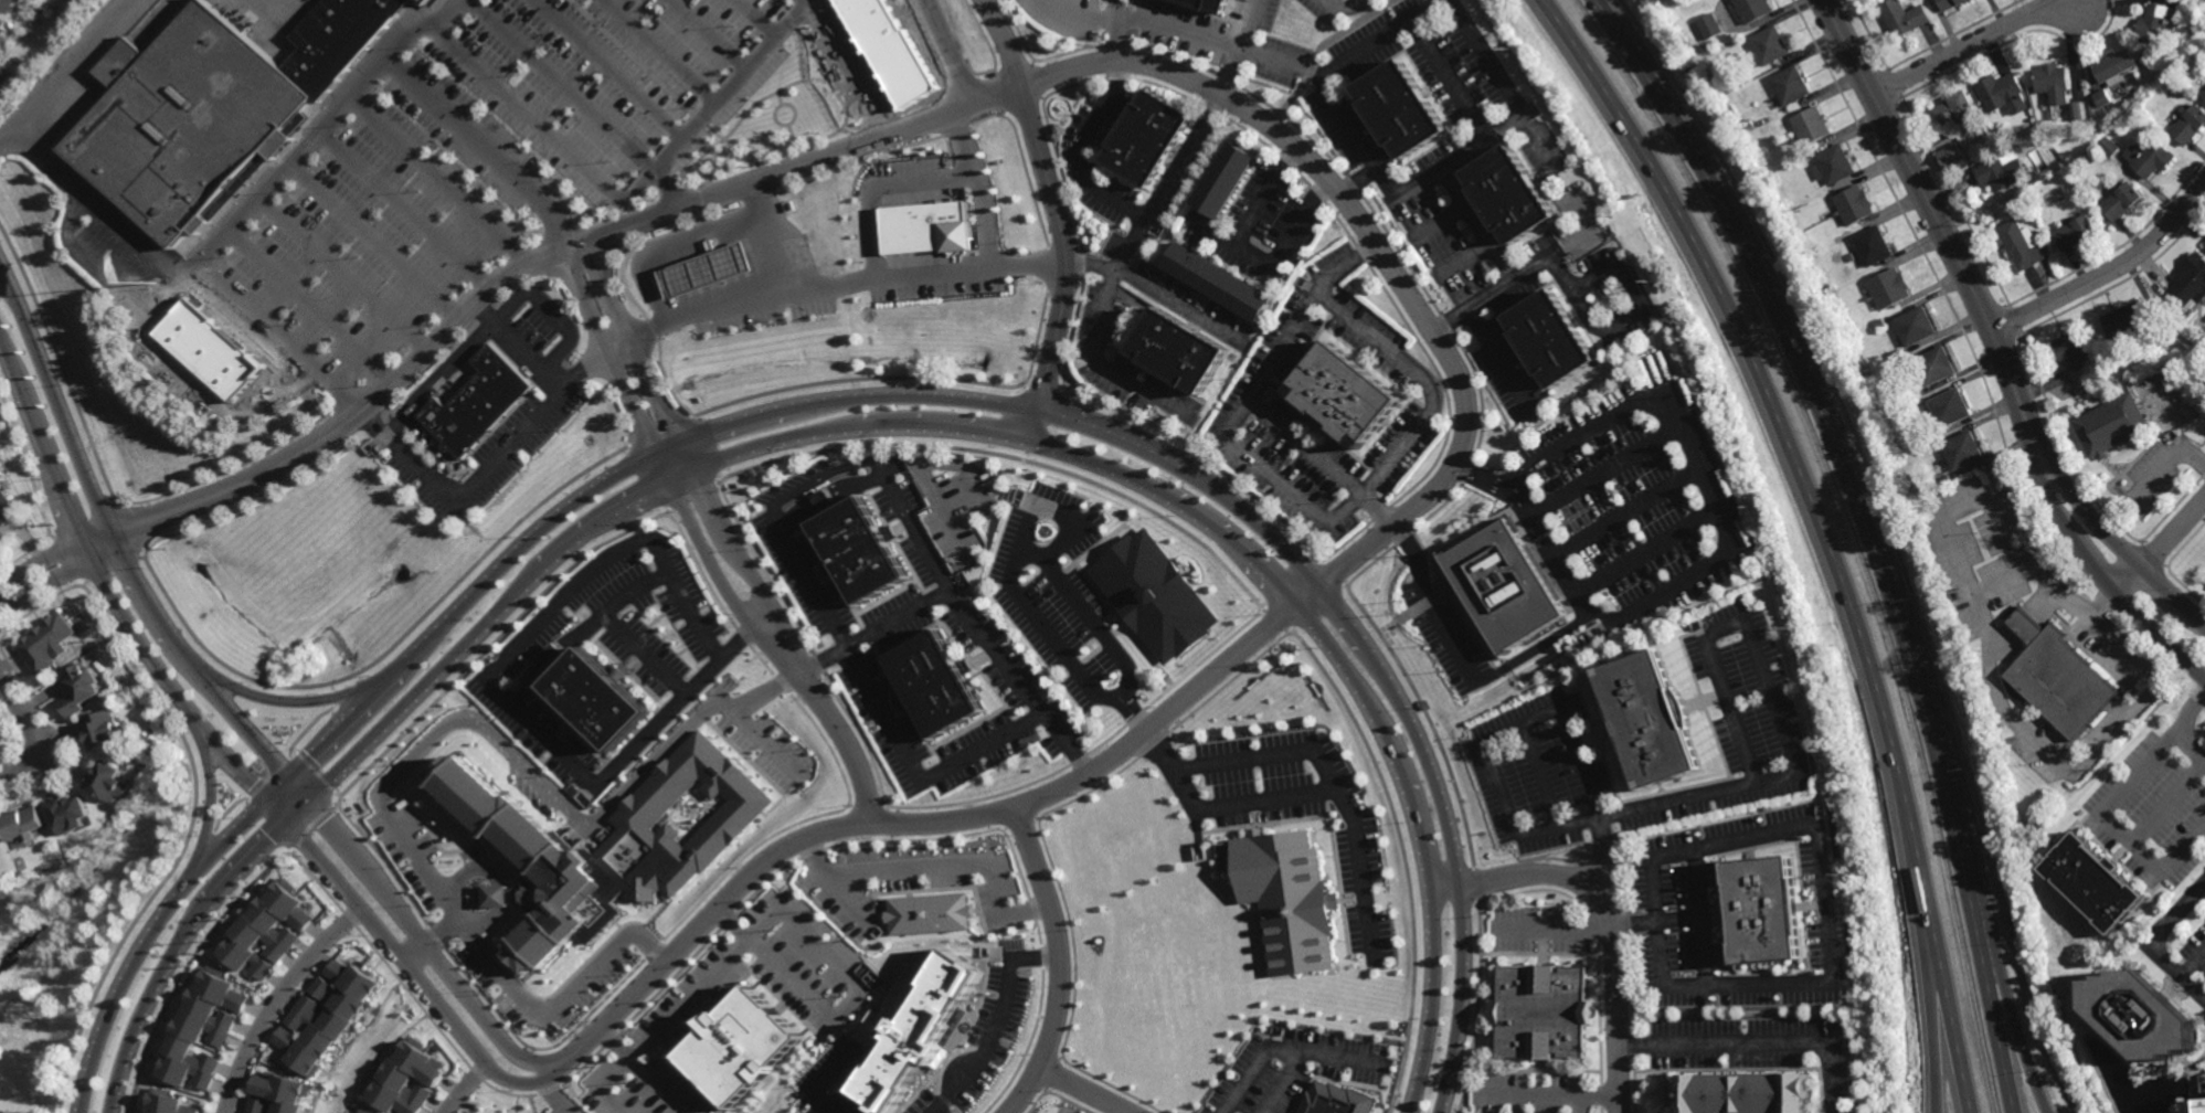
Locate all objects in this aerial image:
building: (28, 0)
building: (430, 1)
building: (421, 2)
building: (1951, 3)
building: (1209, 4)
road: (1344, 9)
building: (1753, 9)
building: (1904, 17)
building: (7, 18)
road: (757, 19)
building: (2155, 22)
building: (1710, 25)
road: (1115, 31)
road: (709, 35)
building: (335, 40)
road: (1381, 41)
road: (1973, 42)
building: (1771, 45)
road: (1232, 47)
road: (1242, 47)
power tower: (1510, 49)
road: (660, 51)
road: (945, 51)
road: (1321, 52)
road: (1480, 61)
building: (2114, 64)
road: (609, 70)
road: (62, 72)
building: (1714, 81)
road: (1450, 83)
building: (1791, 84)
building: (2059, 89)
building: (2002, 93)
building: (2203, 95)
building: (2102, 98)
road: (579, 99)
road: (954, 108)
building: (1404, 108)
building: (1732, 109)
building: (1955, 109)
building: (187, 120)
building: (2190, 124)
building: (1812, 125)
building: (1147, 138)
road: (1544, 142)
building: (2108, 147)
road: (1088, 152)
road: (484, 153)
building: (1950, 156)
building: (2149, 158)
road: (1459, 161)
power tower: (1584, 162)
building: (1833, 165)
building: (2001, 173)
building: (1226, 181)
road: (1167, 182)
road: (436, 183)
road: (1357, 183)
road: (1385, 184)
road: (882, 187)
road: (980, 187)
road: (633, 195)
building: (1510, 195)
road: (1268, 199)
building: (2120, 201)
building: (1853, 205)
road: (244, 210)
road: (403, 212)
road: (1060, 216)
road: (1476, 222)
road: (1297, 224)
road: (1439, 224)
road: (1940, 226)
building: (930, 229)
building: (2075, 232)
road: (1215, 235)
road: (773, 237)
road: (1565, 242)
road: (374, 243)
road: (674, 243)
building: (2018, 245)
building: (1873, 246)
road: (1253, 258)
road: (1464, 264)
road: (1092, 268)
building: (709, 271)
road: (2108, 272)
road: (341, 276)
road: (117, 278)
power tower: (1653, 282)
road: (847, 283)
building: (2191, 283)
building: (1219, 284)
road: (1630, 288)
building: (1889, 288)
road: (1570, 290)
road: (1472, 304)
road: (310, 307)
road: (1177, 307)
road: (551, 312)
building: (2126, 317)
building: (1845, 320)
building: (1881, 322)
building: (1915, 326)
road: (1292, 333)
road: (277, 336)
building: (1552, 341)
road: (635, 343)
road: (522, 346)
road: (1376, 346)
building: (1177, 350)
road: (612, 352)
building: (2073, 352)
road: (1494, 358)
building: (1899, 362)
building: (1934, 365)
road: (1100, 367)
building: (2084, 391)
power tower: (1708, 394)
building: (1915, 395)
building: (1344, 397)
building: (1919, 402)
road: (213, 403)
building: (483, 403)
building: (1950, 409)
building: (2112, 425)
road: (849, 428)
building: (1926, 446)
building: (1962, 451)
road: (1556, 454)
road: (2170, 459)
road: (1324, 462)
road: (494, 463)
road: (1381, 464)
road: (1178, 465)
road: (947, 466)
road: (1601, 475)
road: (1694, 476)
building: (1946, 478)
road: (824, 480)
road: (1276, 480)
building: (6, 507)
road: (946, 509)
power tower: (1756, 509)
road: (1622, 515)
road: (1056, 519)
road: (1822, 530)
road: (1867, 532)
building: (1, 538)
road: (1021, 544)
road: (2119, 545)
road: (2160, 545)
road: (1063, 547)
road: (1549, 550)
building: (859, 551)
road: (1035, 553)
road: (120, 554)
road: (1644, 555)
road: (54, 566)
road: (2107, 580)
road: (2004, 583)
building: (1506, 585)
road: (759, 587)
building: (1156, 595)
road: (1657, 595)
road: (113, 602)
road: (733, 603)
road: (1430, 605)
road: (971, 625)
road: (1098, 627)
power tower: (1789, 627)
road: (2024, 627)
road: (1727, 628)
road: (586, 633)
road: (876, 633)
building: (43, 643)
road: (846, 643)
road: (1991, 645)
road: (1061, 649)
road: (1533, 649)
road: (643, 656)
building: (2056, 676)
road: (488, 683)
building: (933, 683)
building: (79, 688)
road: (289, 702)
building: (597, 702)
road: (2191, 713)
road: (1132, 718)
building: (1652, 718)
road: (1528, 727)
building: (102, 730)
road: (35, 732)
road: (760, 740)
road: (979, 748)
road: (2191, 750)
road: (423, 751)
power tower: (1823, 754)
road: (1249, 755)
road: (1180, 763)
road: (1328, 768)
road: (857, 776)
building: (105, 781)
road: (212, 788)
road: (1272, 797)
road: (2171, 803)
road: (1657, 804)
parking lot: (1307, 809)
building: (67, 815)
road: (250, 820)
building: (21, 824)
road: (914, 825)
road: (2118, 826)
building: (609, 844)
building: (0, 846)
road: (1732, 846)
road: (1601, 855)
road: (924, 869)
road: (1360, 869)
road: (470, 870)
power tower: (1842, 875)
building: (2093, 882)
road: (1696, 887)
building: (929, 893)
building: (495, 895)
road: (496, 897)
building: (1286, 898)
road: (842, 901)
road: (1823, 907)
building: (1762, 912)
building: (925, 913)
road: (1609, 914)
road: (484, 920)
road: (1655, 920)
road: (1985, 920)
road: (730, 922)
road: (1653, 924)
building: (272, 930)
road: (1557, 934)
road: (432, 941)
road: (2148, 943)
road: (426, 947)
road: (1705, 951)
road: (1922, 956)
road: (1053, 966)
road: (2194, 966)
road: (413, 978)
road: (1685, 984)
road: (1771, 984)
road: (854, 989)
power tower: (1857, 997)
road: (688, 998)
road: (278, 1003)
parking lot: (827, 1010)
building: (1541, 1013)
building: (328, 1016)
building: (2143, 1018)
road: (993, 1025)
building: (910, 1028)
building: (206, 1029)
building: (743, 1041)
road: (614, 1042)
road: (1283, 1045)
road: (1721, 1046)
road: (2073, 1050)
road: (1283, 1078)
building: (410, 1079)
road: (823, 1079)
road: (1827, 1080)
road: (605, 1085)
road: (658, 1086)
road: (464, 1089)
road: (1079, 1091)
building: (1747, 1093)
building: (280, 1094)
road: (1549, 1094)
road: (558, 1096)
building: (1331, 1099)
building: (172, 1103)
road: (1578, 1103)
road: (1523, 1104)
building: (2202, 1109)
building: (364, 1111)

